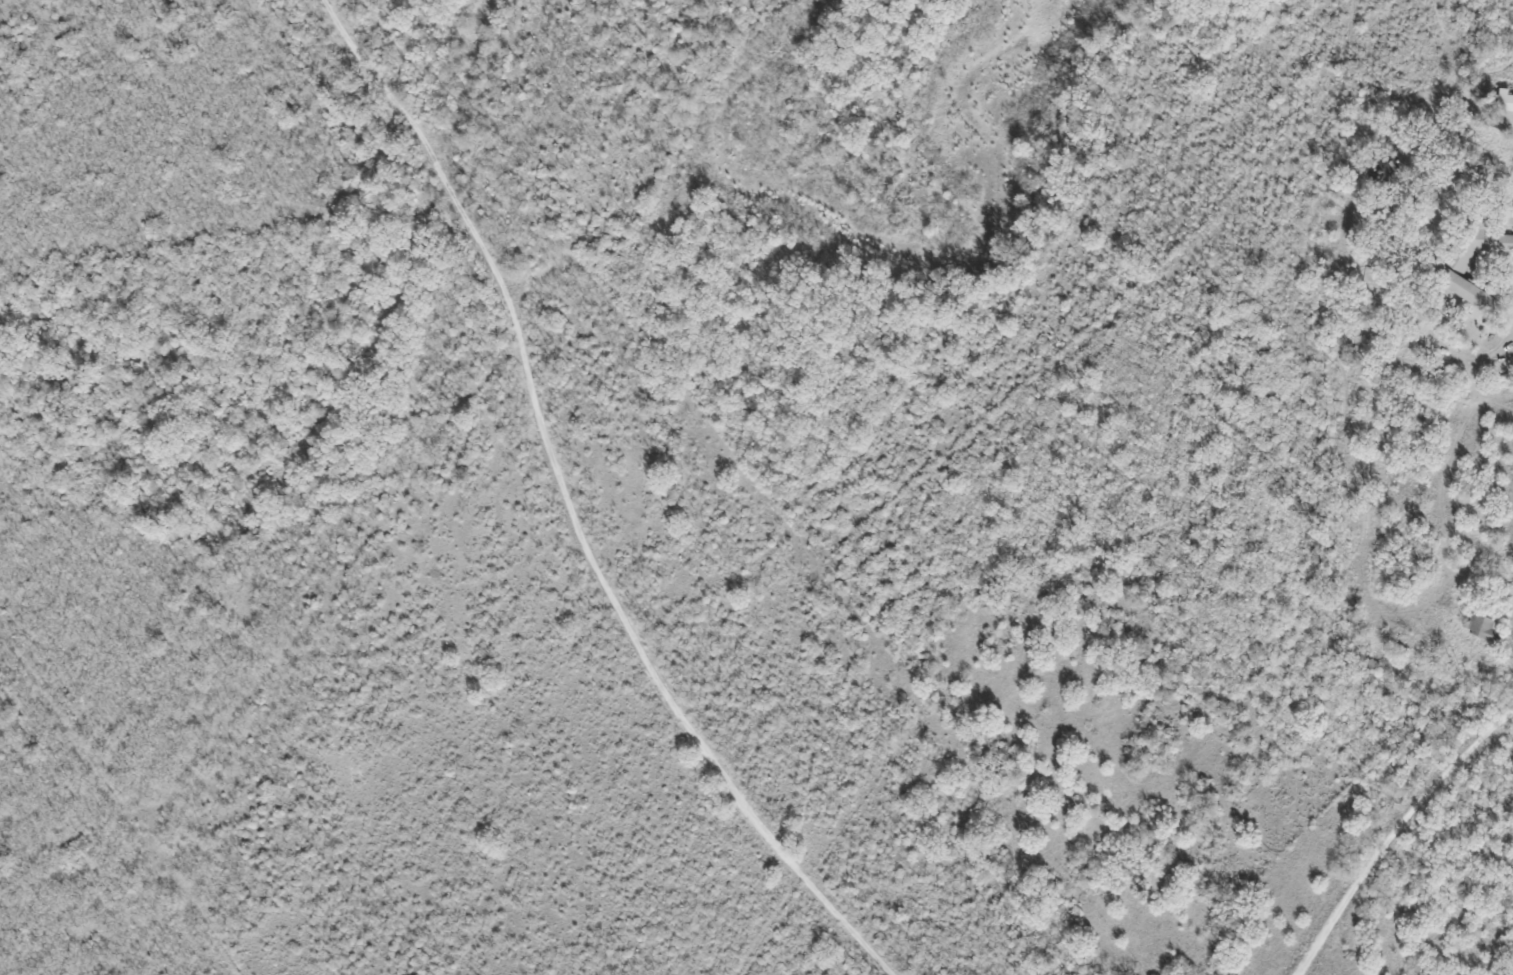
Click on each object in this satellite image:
road: (1449, 52)
building: (1504, 101)
road: (1486, 123)
building: (1382, 168)
building: (1480, 245)
building: (1465, 290)
road: (564, 509)
building: (1485, 628)
road: (1394, 833)

